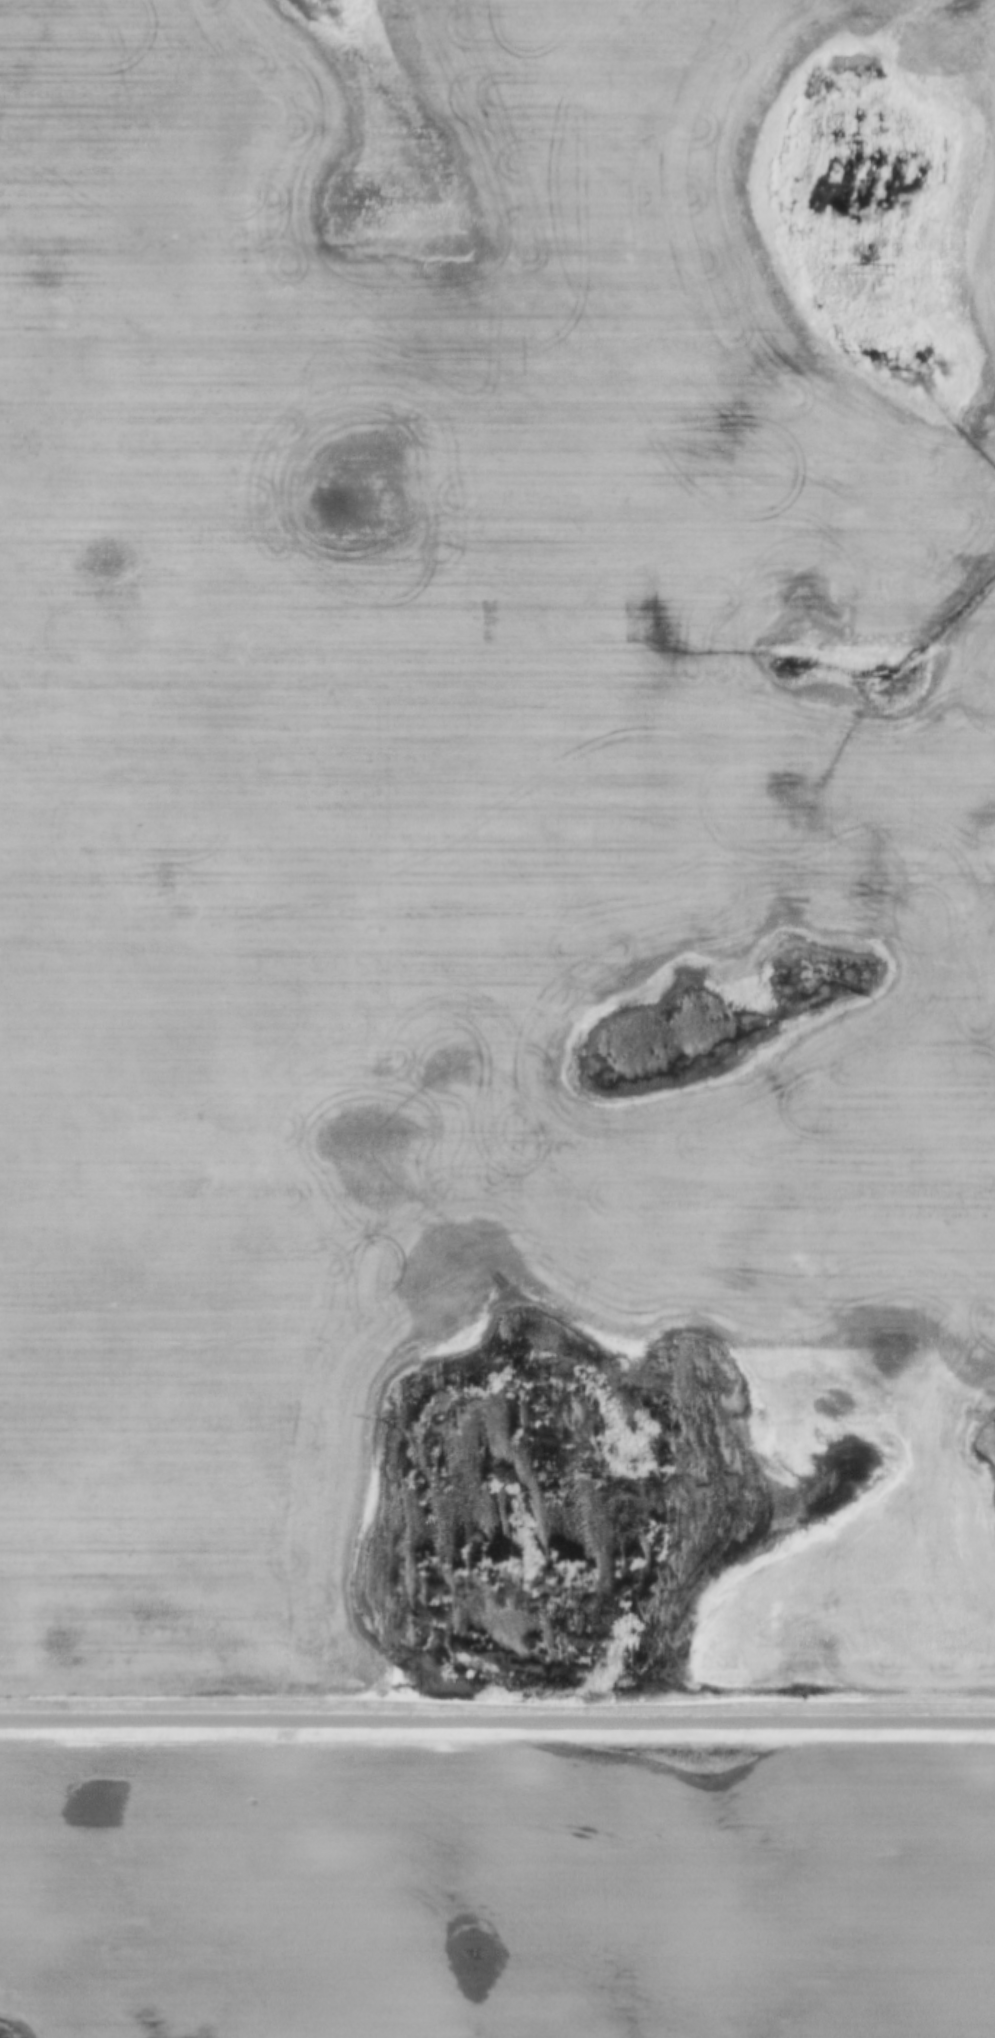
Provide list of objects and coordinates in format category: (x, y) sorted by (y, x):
road: (497, 1724)

